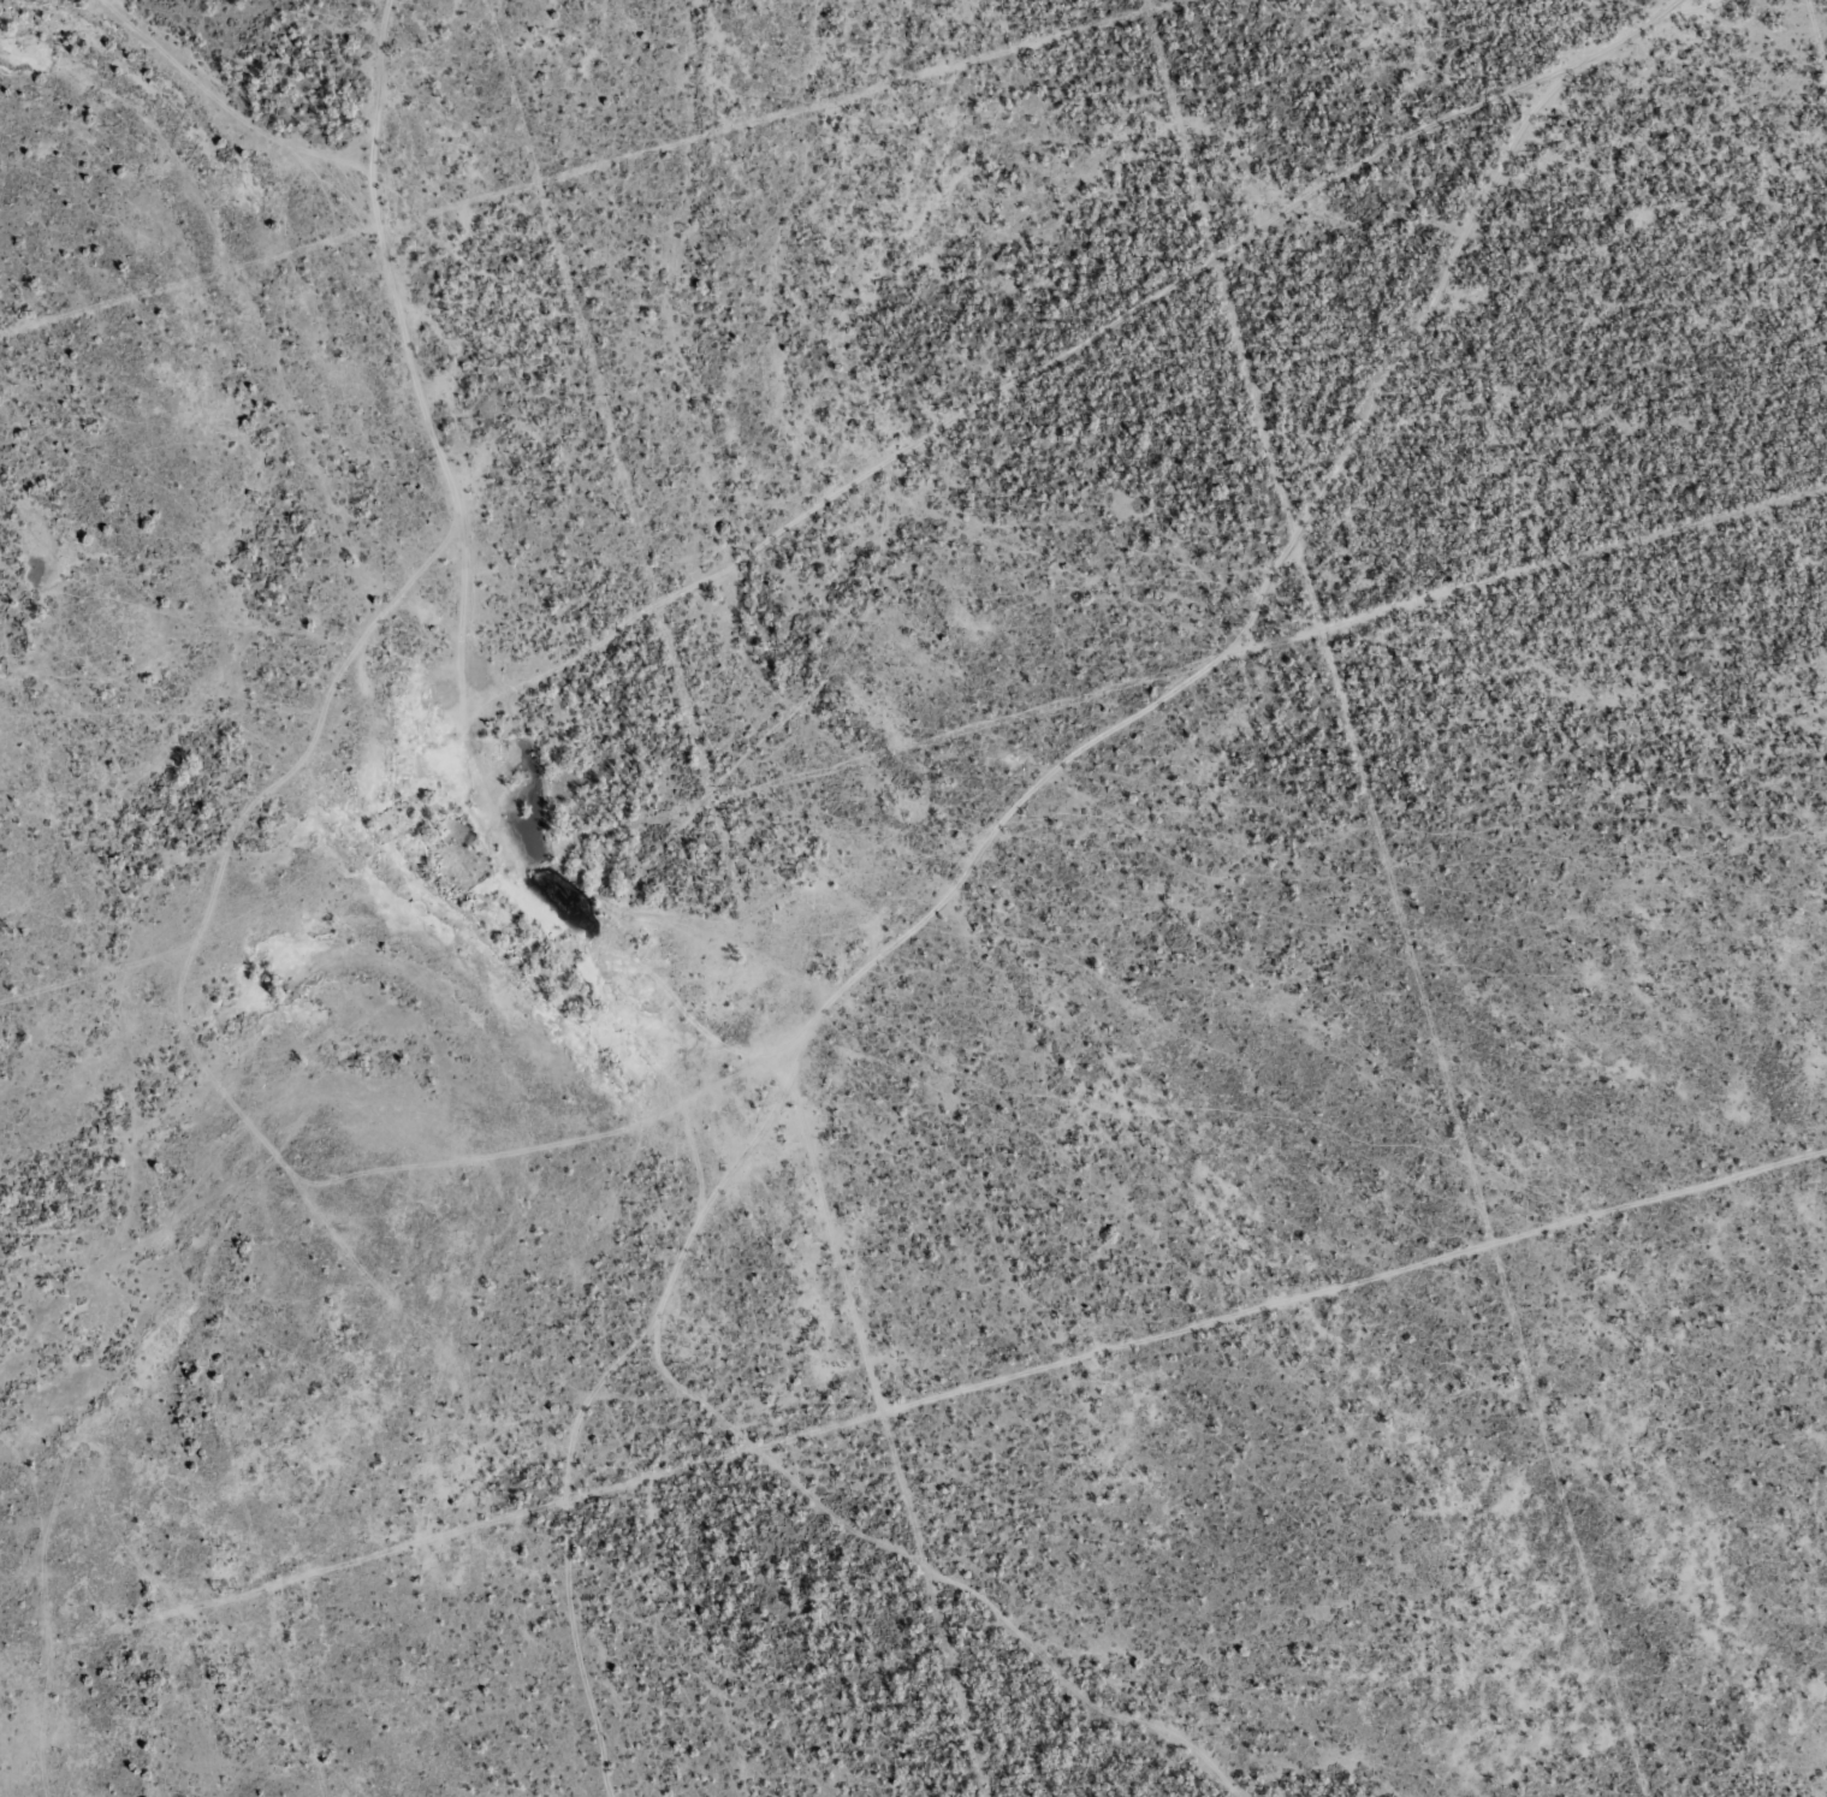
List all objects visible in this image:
road: (1025, 843)

